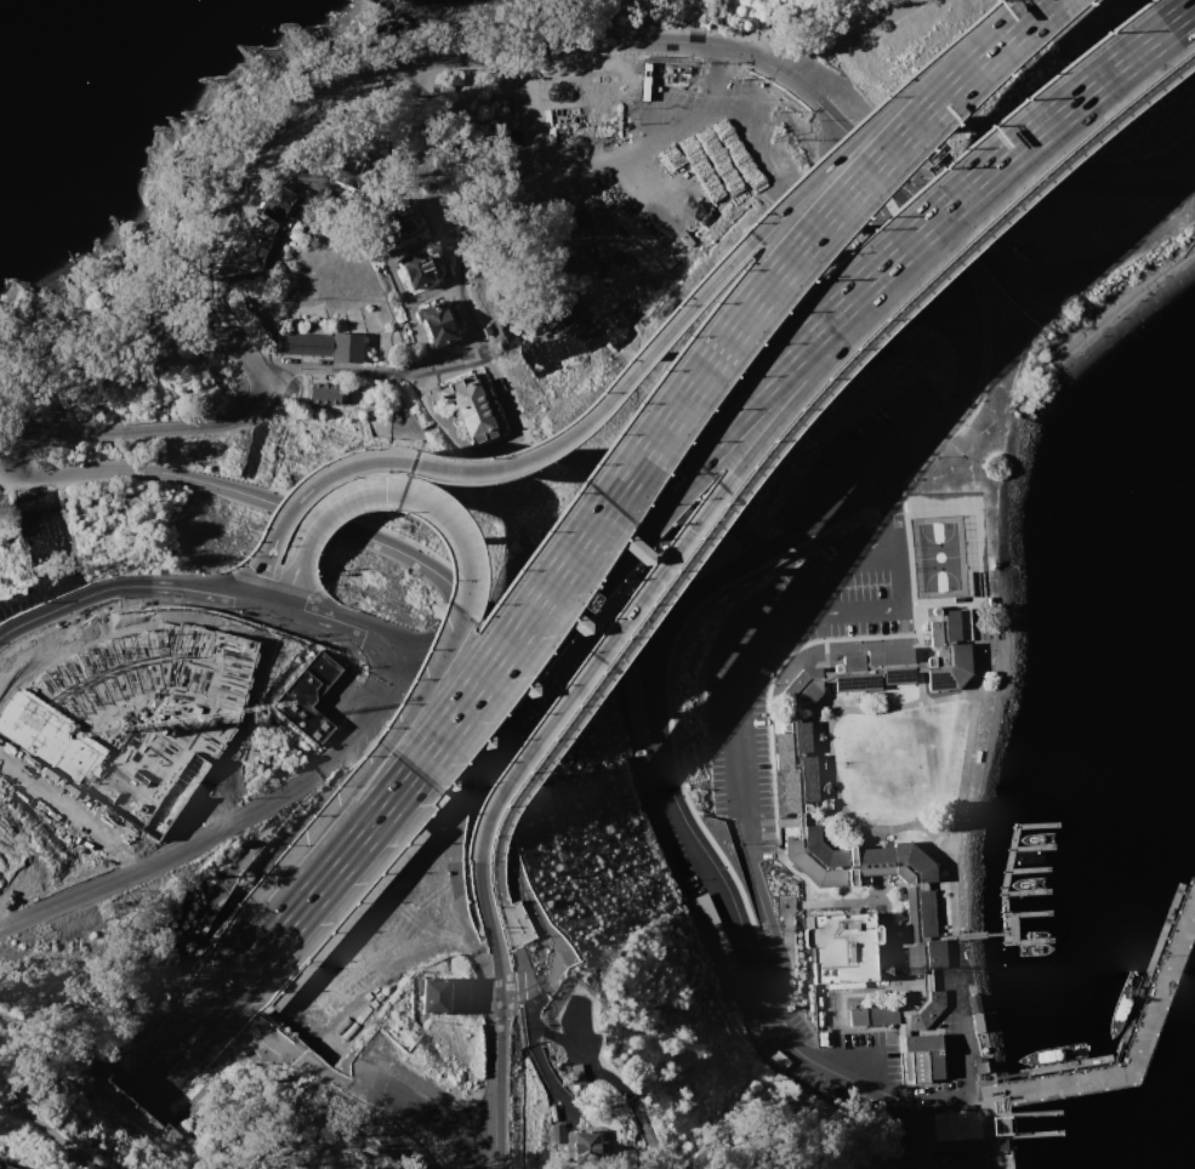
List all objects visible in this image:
road: (1019, 16)
storage tank: (379, 27)
storage tank: (397, 29)
road: (847, 36)
road: (383, 70)
road: (513, 72)
road: (840, 104)
park: (645, 165)
building: (358, 173)
road: (1041, 173)
parking lot: (1103, 175)
road: (857, 183)
building: (278, 204)
road: (290, 210)
building: (403, 217)
road: (937, 230)
road: (907, 247)
building: (254, 249)
building: (935, 257)
building: (425, 268)
road: (432, 293)
road: (470, 312)
building: (437, 321)
road: (416, 335)
building: (305, 343)
building: (348, 348)
road: (638, 359)
road: (780, 361)
road: (881, 381)
road: (985, 389)
building: (323, 393)
road: (810, 397)
building: (468, 406)
road: (341, 430)
road: (785, 439)
road: (8, 446)
road: (494, 446)
road: (530, 446)
road: (275, 454)
parking lot: (870, 455)
road: (630, 466)
traffic signals: (380, 492)
road: (890, 509)
road: (314, 525)
road: (402, 537)
road: (684, 537)
road: (396, 552)
park: (938, 555)
road: (907, 578)
road: (130, 586)
road: (263, 595)
road: (275, 599)
road: (974, 604)
road: (875, 608)
road: (345, 631)
road: (916, 648)
road: (442, 655)
road: (824, 655)
road: (973, 674)
road: (668, 677)
road: (918, 685)
road: (420, 694)
parking lot: (734, 695)
road: (827, 696)
building: (305, 697)
power substation: (305, 697)
road: (882, 697)
road: (861, 698)
building: (636, 702)
road: (816, 702)
road: (734, 706)
road: (659, 712)
building: (136, 713)
road: (813, 715)
road: (767, 726)
road: (818, 749)
road: (826, 751)
road: (336, 752)
road: (961, 772)
road: (821, 816)
road: (785, 820)
parking lot: (666, 821)
building: (799, 822)
pier: (1036, 823)
road: (502, 828)
road: (821, 829)
road: (853, 836)
pier: (1031, 845)
road: (880, 846)
pier: (1006, 867)
pier: (1026, 868)
pier: (1024, 893)
road: (888, 897)
road: (886, 900)
pier: (1032, 912)
road: (792, 914)
building: (709, 926)
pier: (1007, 928)
road: (995, 931)
road: (488, 933)
road: (275, 934)
pier: (969, 934)
pier: (1034, 940)
road: (895, 943)
road: (512, 946)
building: (841, 947)
pier: (1003, 953)
pier: (1028, 962)
pier: (1146, 966)
road: (787, 976)
building: (433, 996)
pier: (1157, 996)
road: (921, 1000)
building: (974, 1003)
road: (207, 1008)
road: (841, 1011)
building: (858, 1016)
road: (958, 1019)
building: (978, 1022)
road: (551, 1033)
parking lot: (780, 1037)
parking lot: (950, 1042)
building: (983, 1044)
parking lot: (867, 1050)
road: (1116, 1053)
road: (858, 1054)
building: (922, 1056)
pier: (1064, 1063)
building: (979, 1065)
road: (547, 1072)
building: (582, 1072)
road: (1008, 1073)
road: (501, 1087)
pier: (1034, 1112)
road: (604, 1119)
building: (562, 1128)
road: (962, 1133)
road: (50, 1134)
road: (916, 1134)
pier: (1035, 1134)
pier: (1009, 1136)
road: (986, 1140)
building: (1005, 1144)
building: (588, 1147)
parking lot: (964, 1152)
building: (5, 1167)

